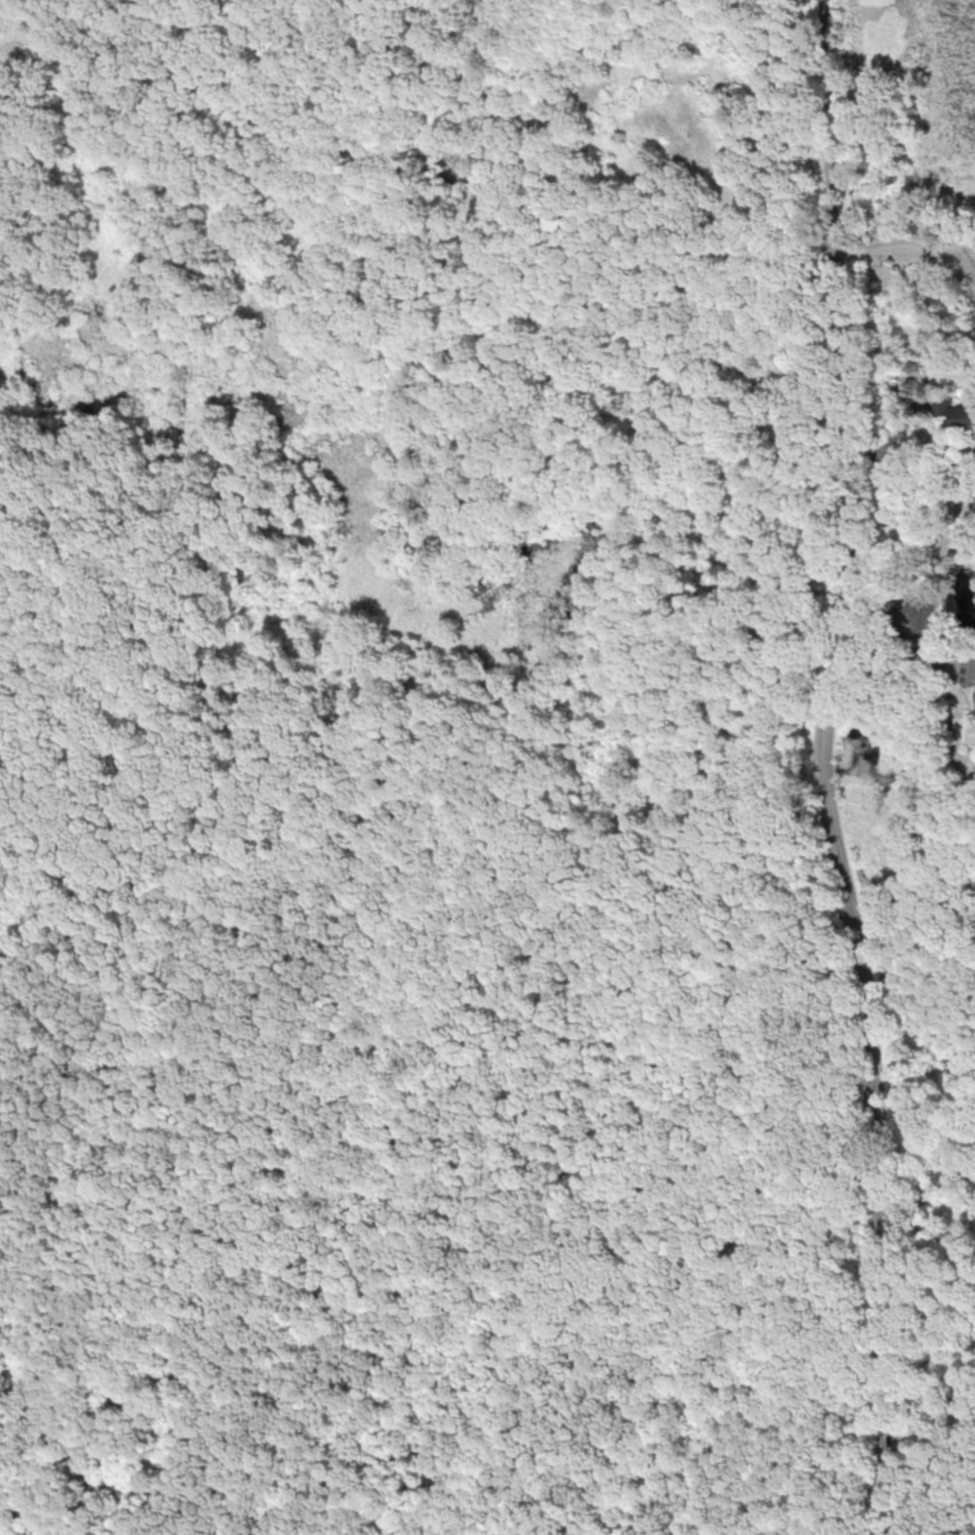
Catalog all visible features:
road: (913, 244)
building: (940, 405)
building: (962, 416)
road: (907, 626)
road: (822, 768)

